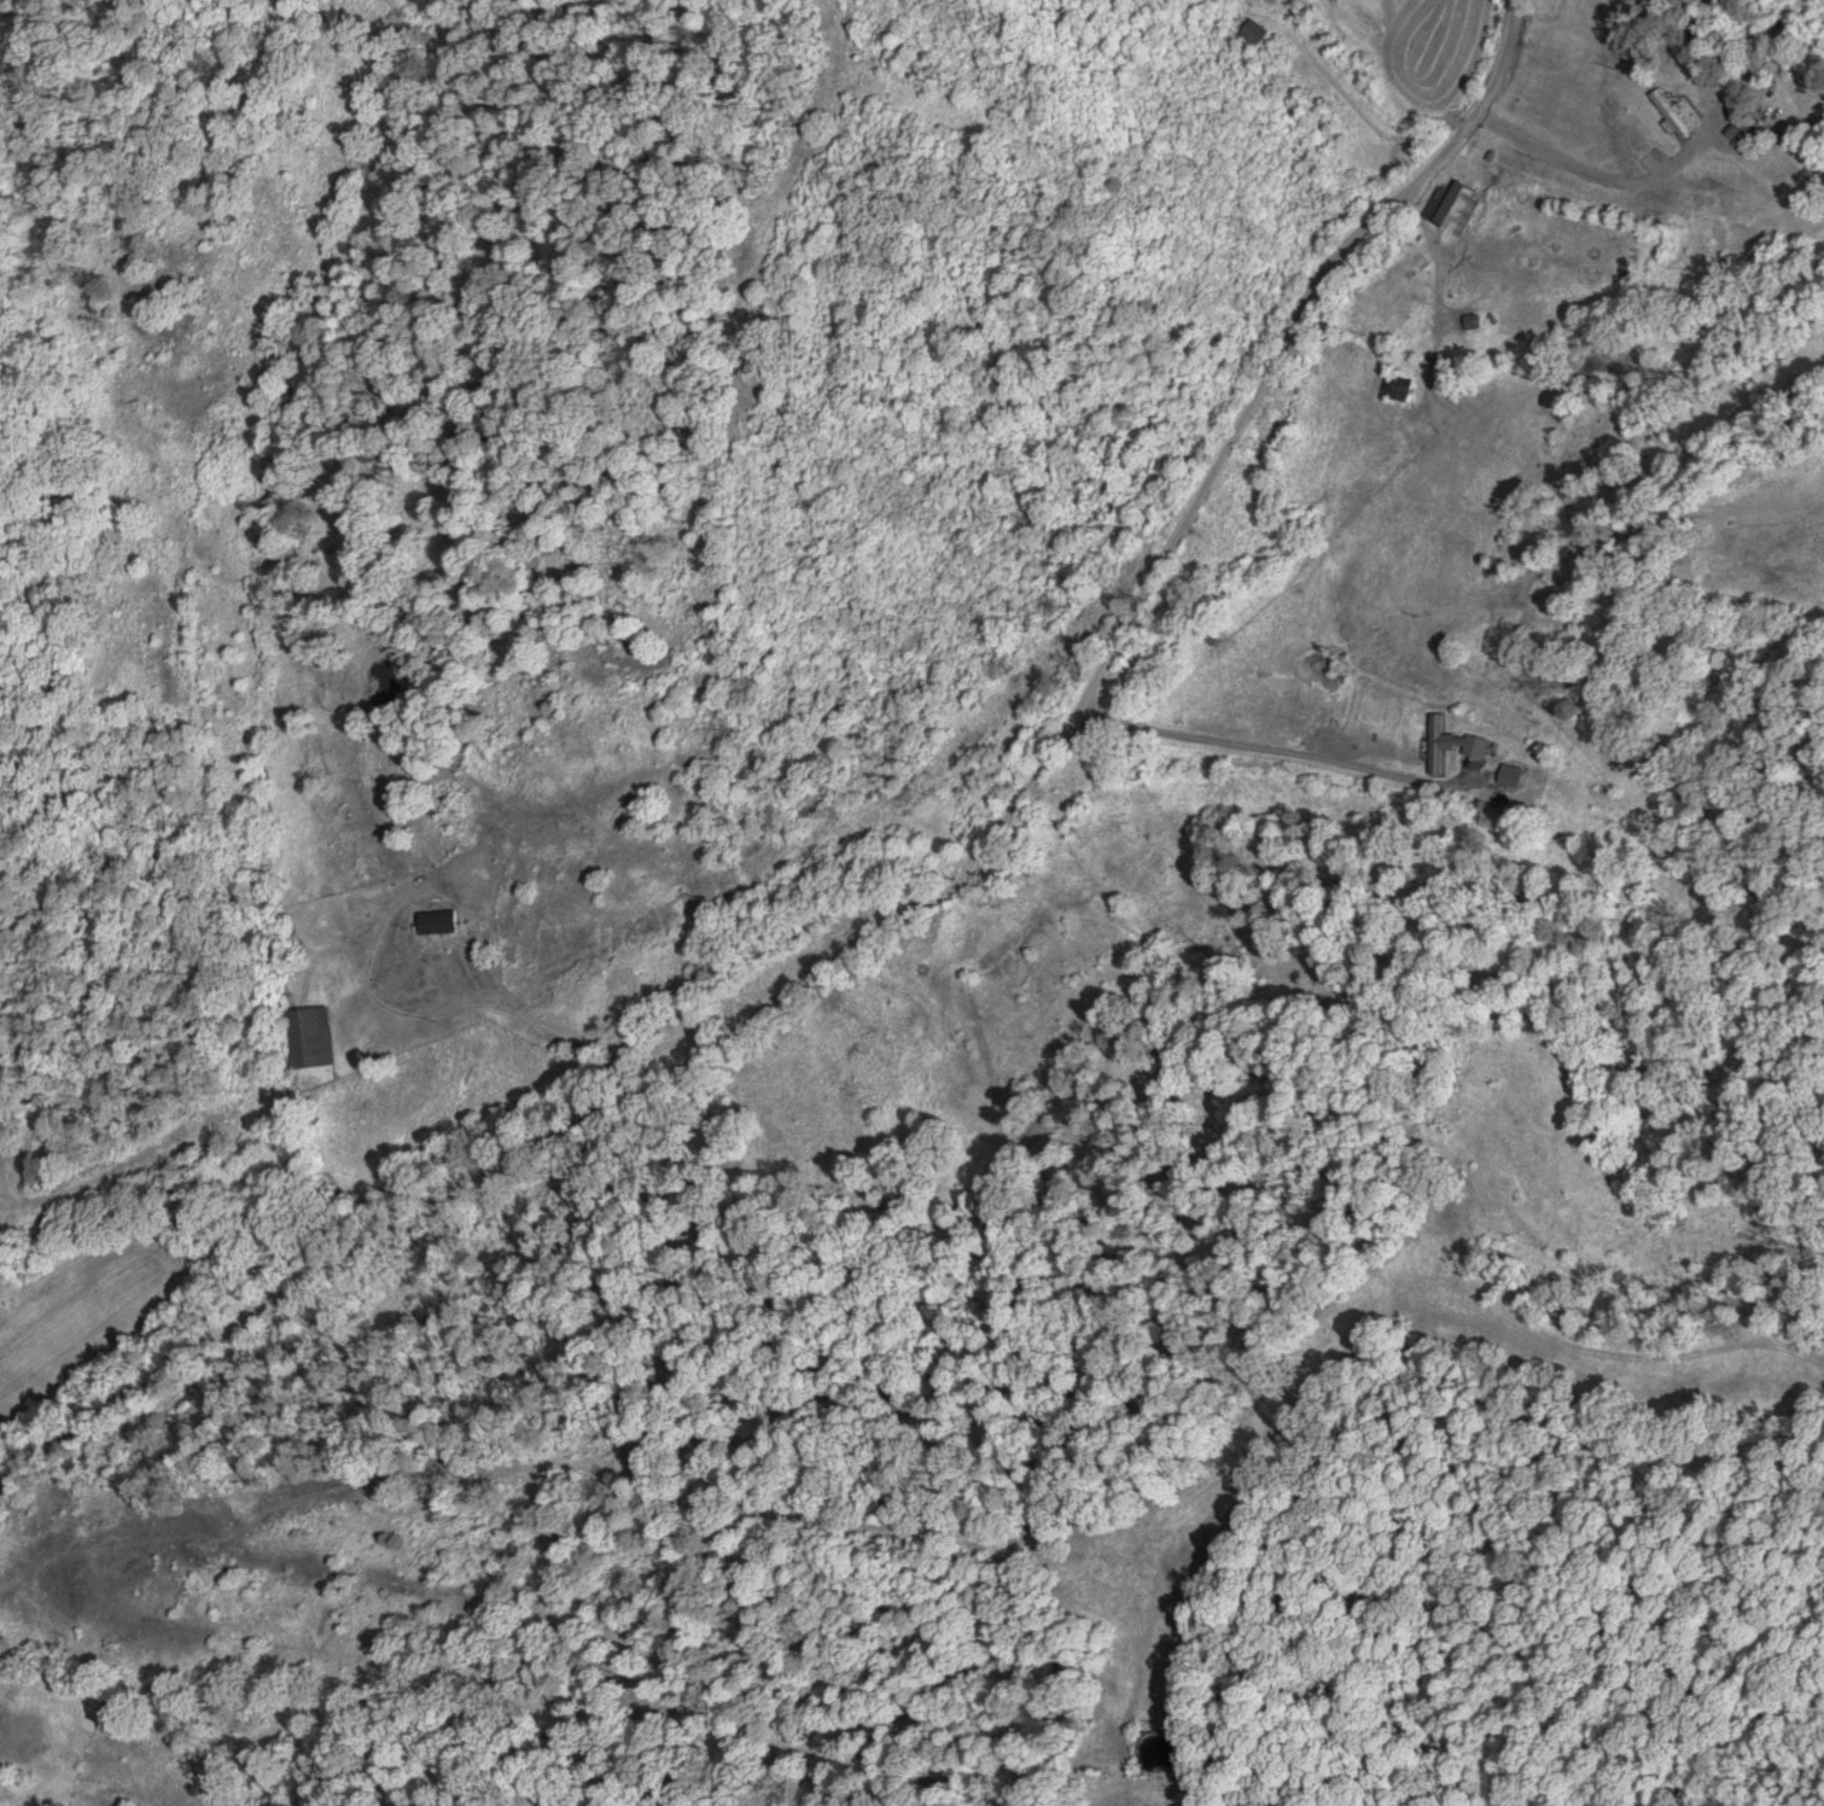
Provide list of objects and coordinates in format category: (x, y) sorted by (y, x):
building: (1668, 115)
building: (1451, 208)
building: (1469, 321)
building: (1398, 388)
building: (1434, 745)
road: (479, 857)
road: (875, 880)
building: (435, 922)
building: (309, 1037)

